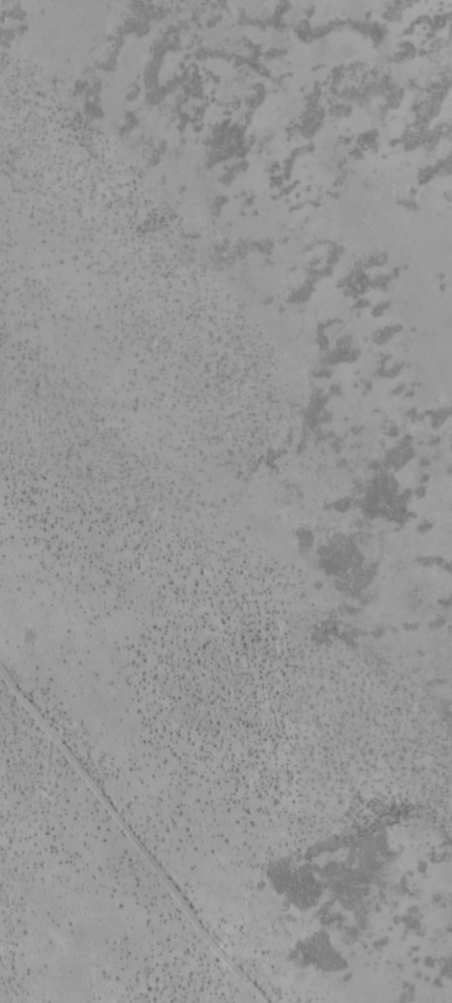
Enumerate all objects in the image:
road: (128, 833)

